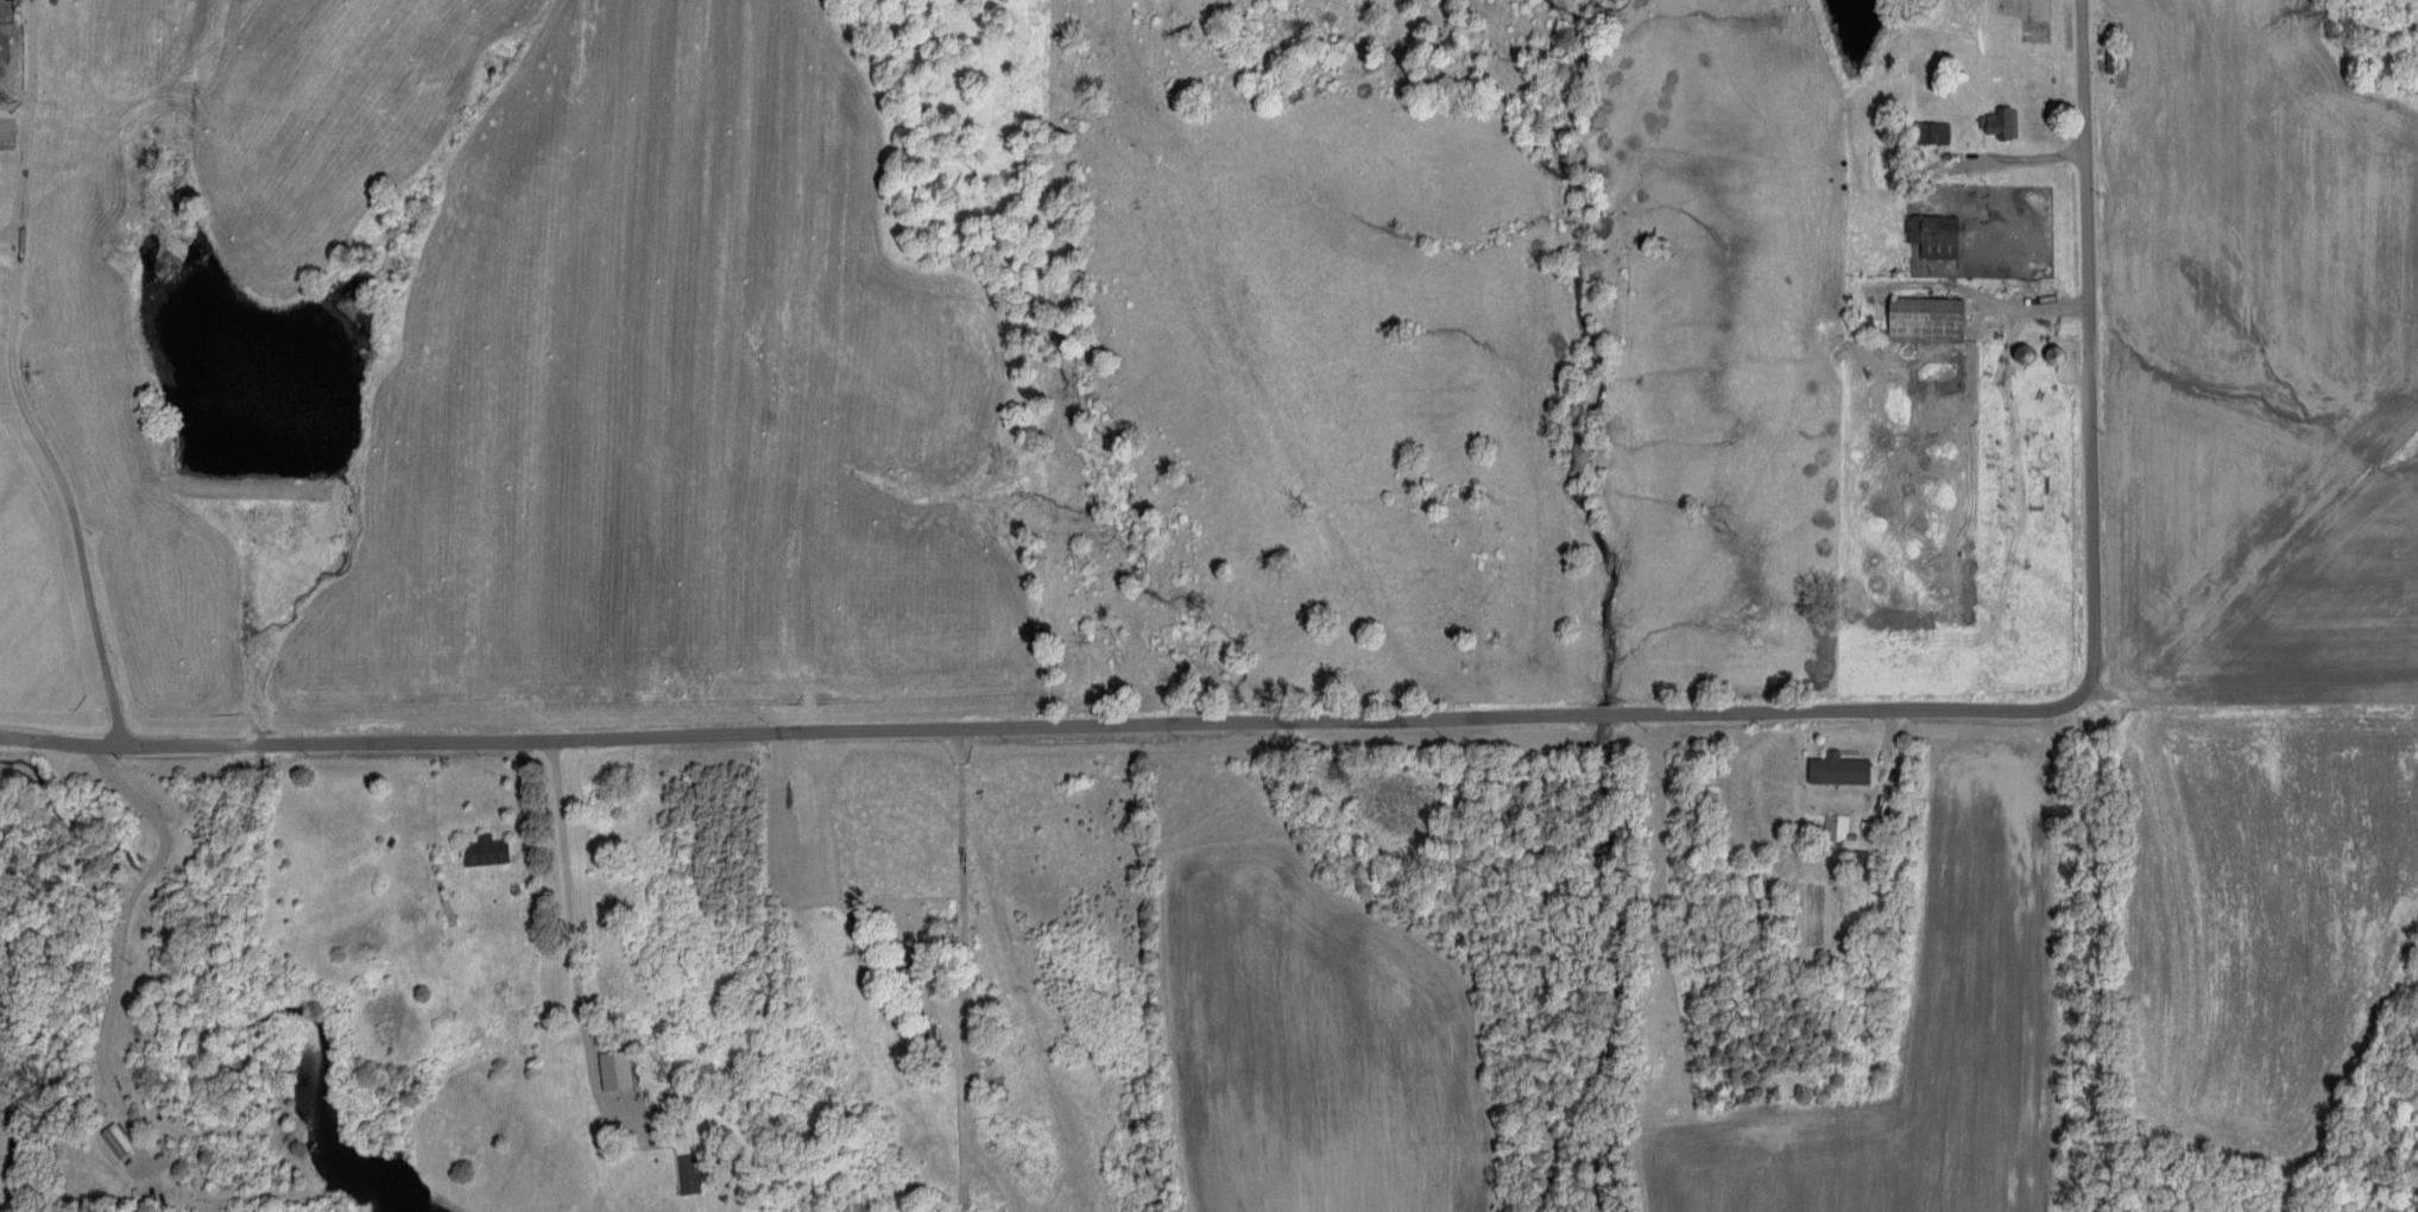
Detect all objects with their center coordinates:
building: (1933, 131)
building: (1937, 234)
road: (2012, 302)
building: (1928, 318)
road: (2084, 339)
road: (1042, 717)
building: (1839, 768)
building: (1836, 825)
building: (487, 848)
road: (935, 898)
road: (113, 940)
building: (617, 1067)
building: (690, 1172)

